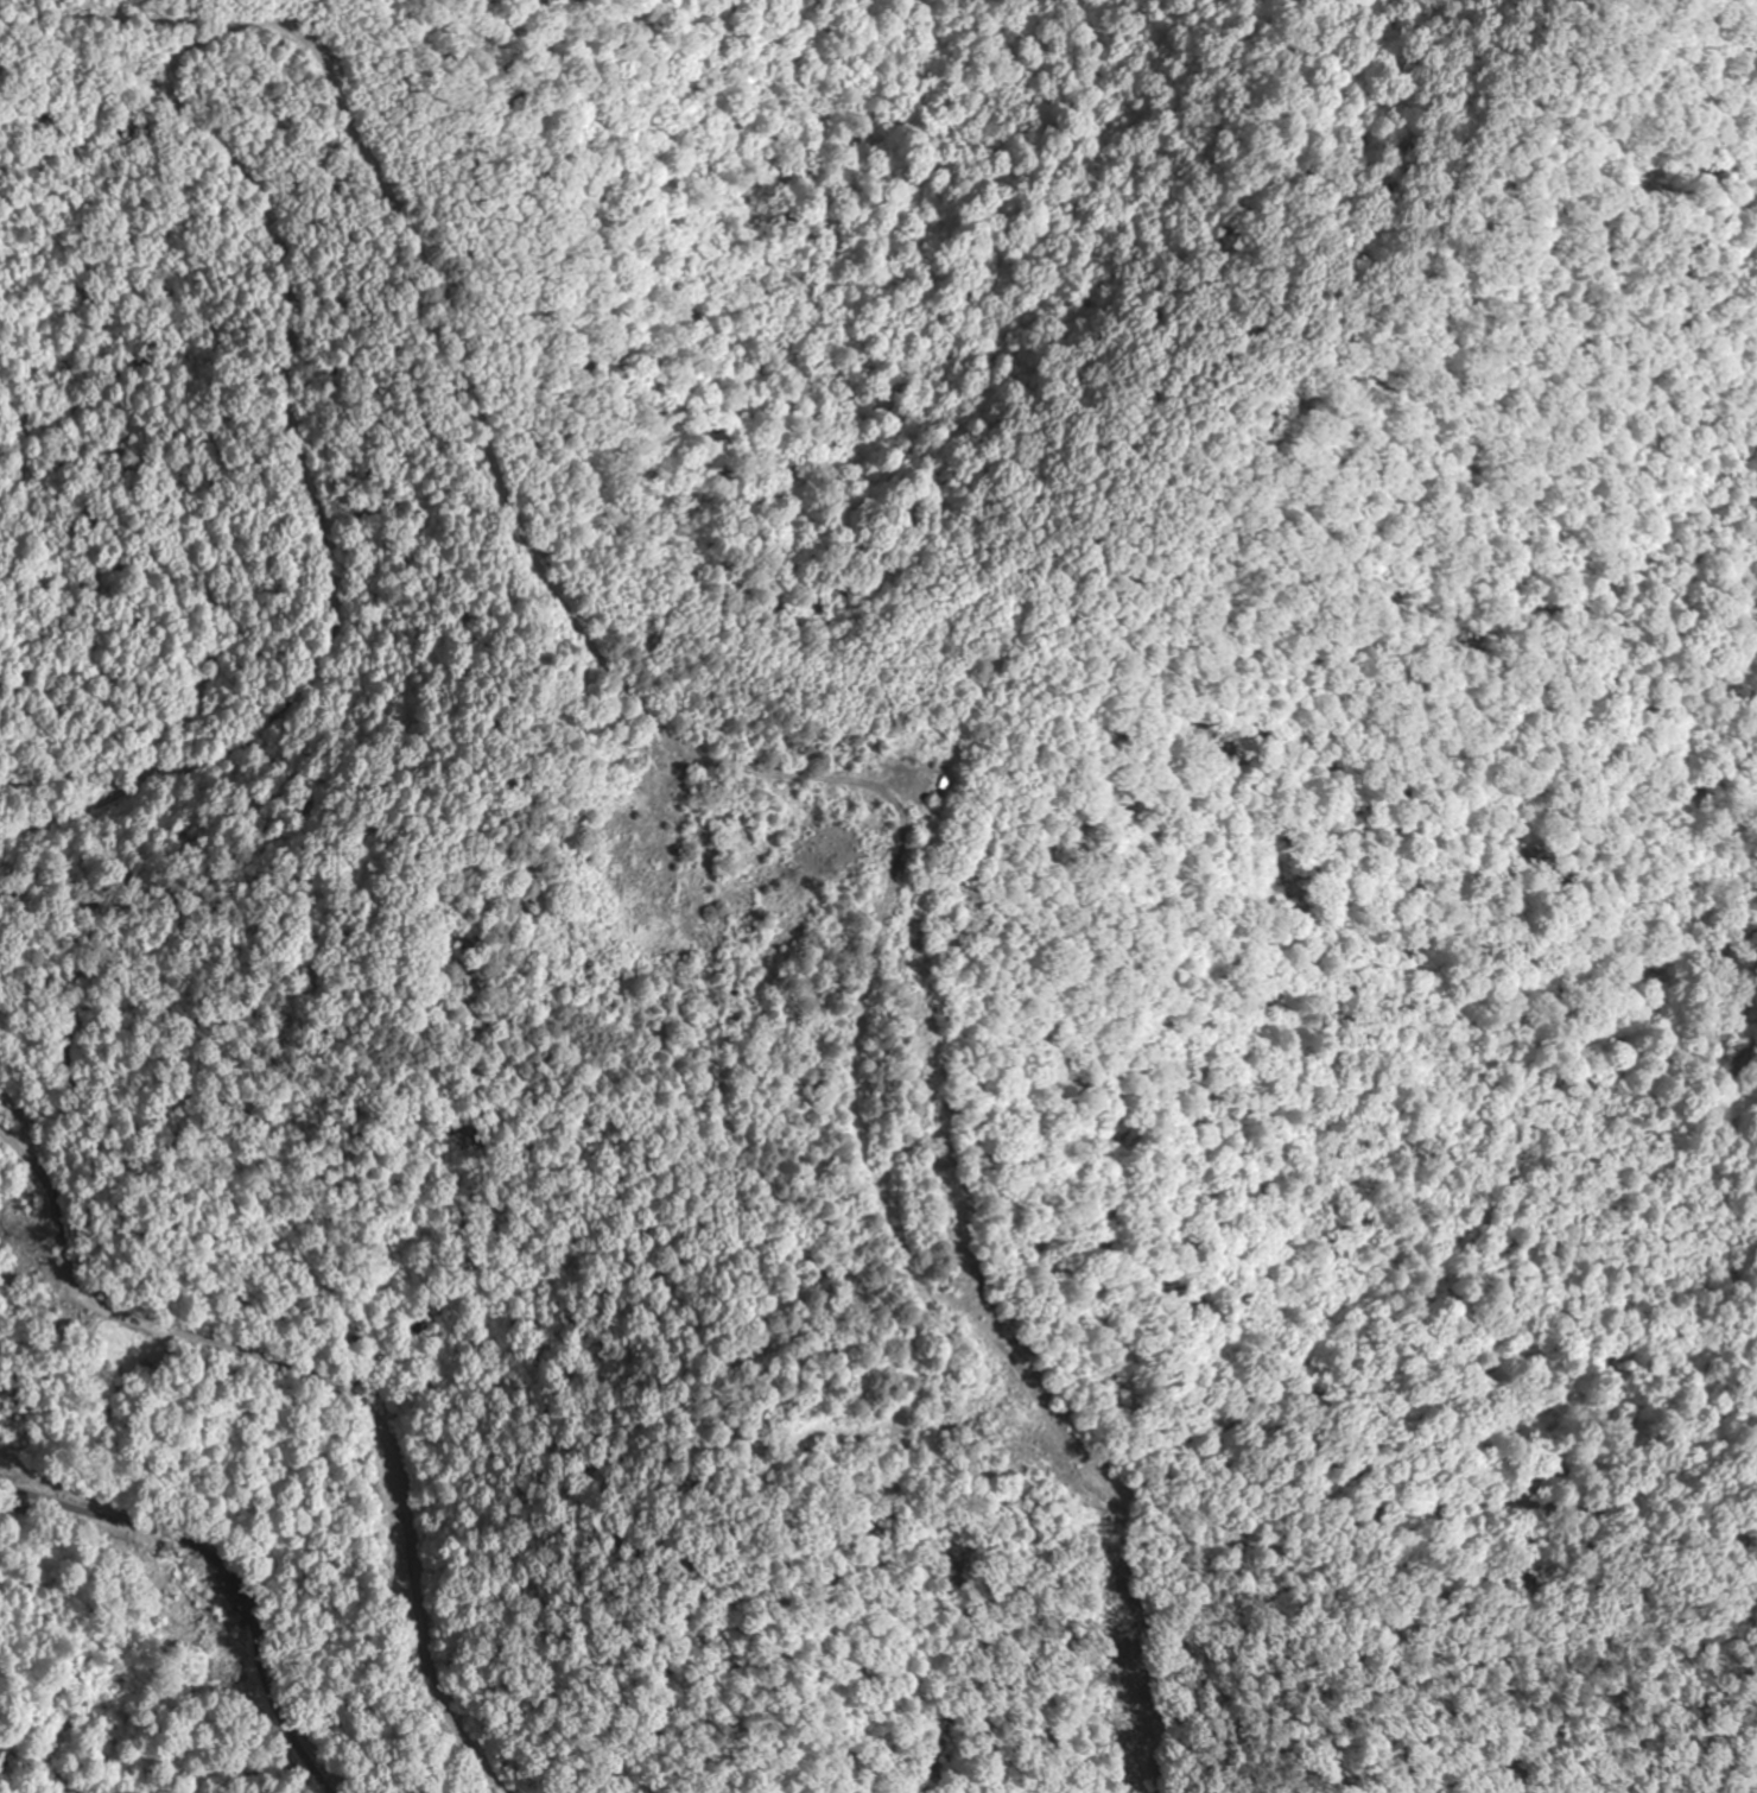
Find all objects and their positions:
road: (227, 1571)

